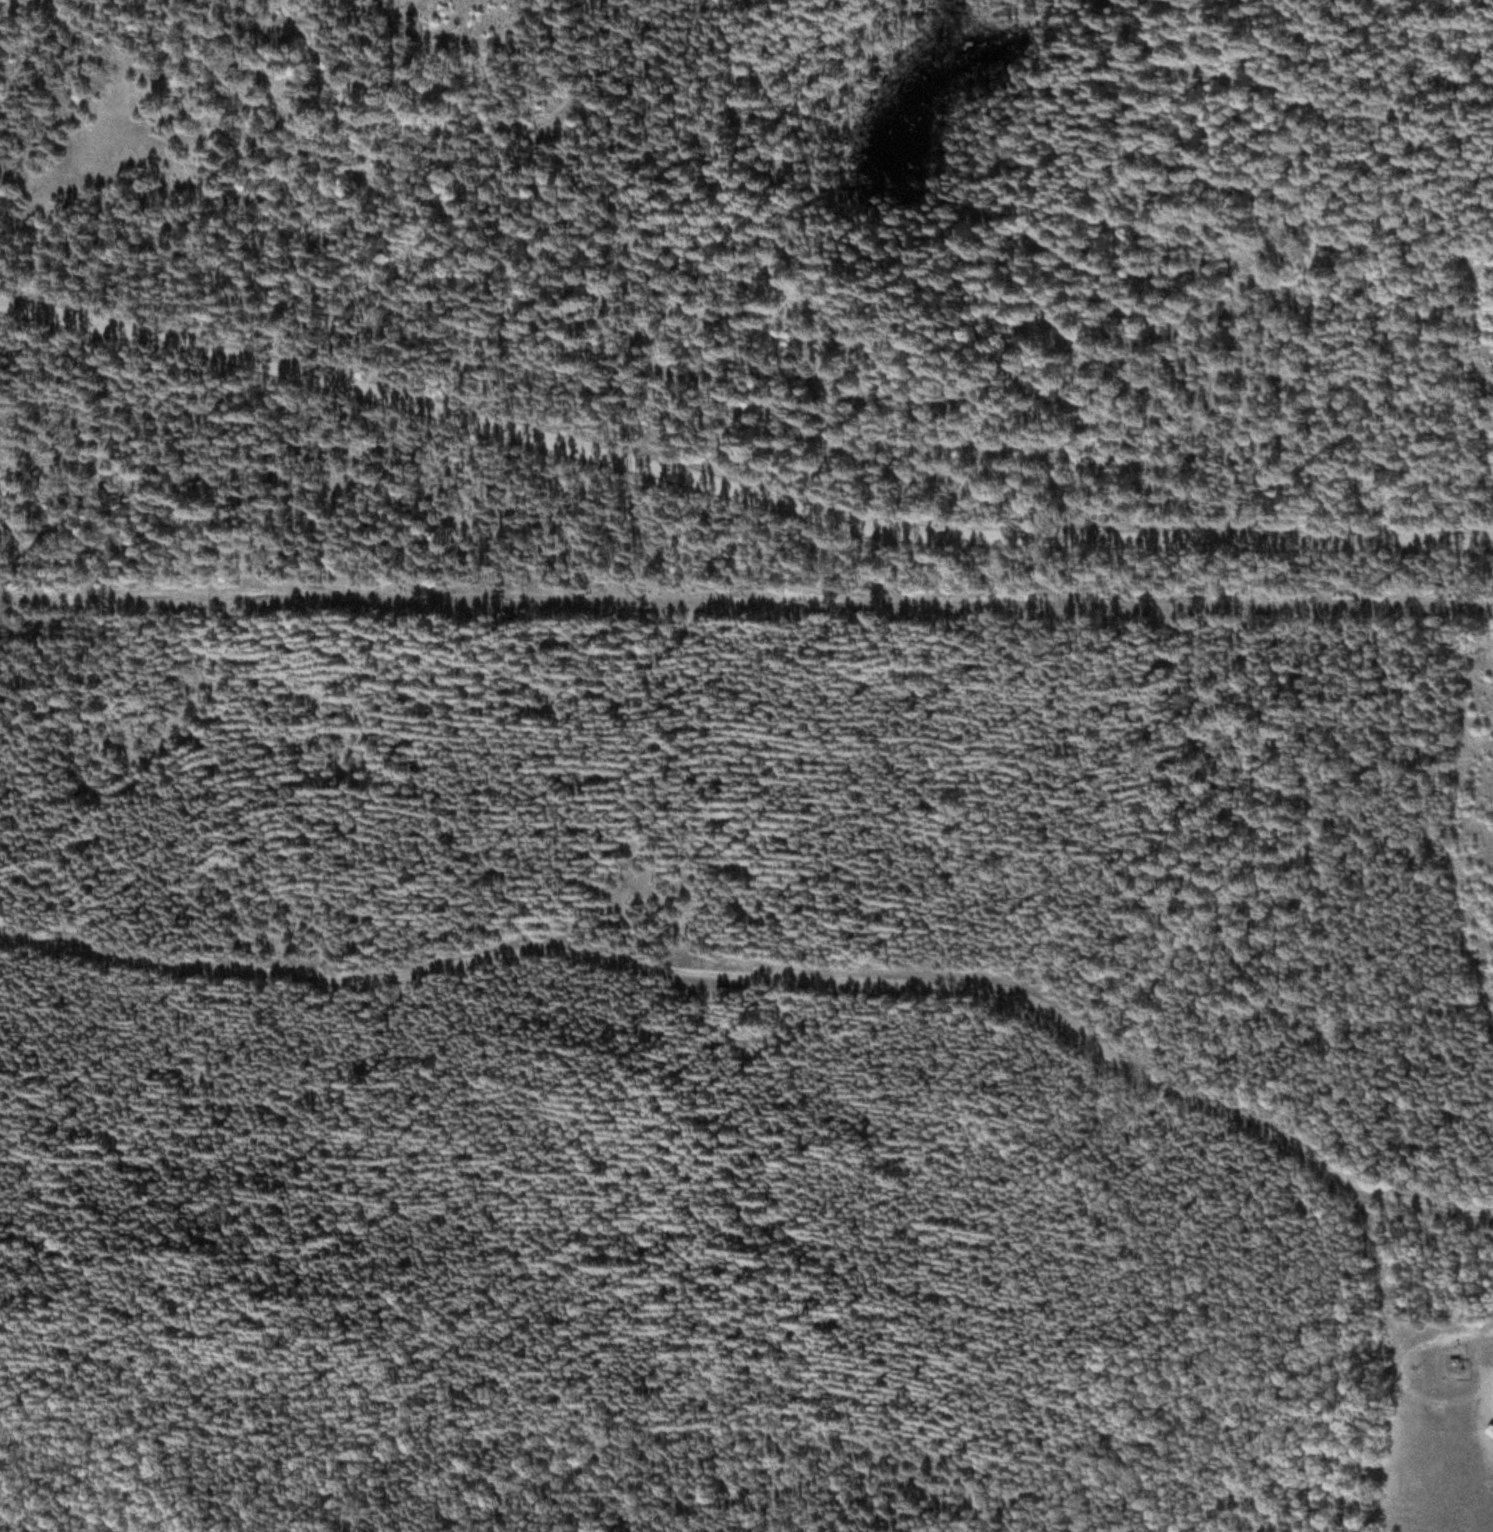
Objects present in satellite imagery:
road: (33, 59)
road: (603, 72)
road: (370, 127)
road: (738, 489)
road: (1001, 572)
road: (728, 601)
road: (771, 974)
building: (1448, 1386)
building: (1486, 1517)

